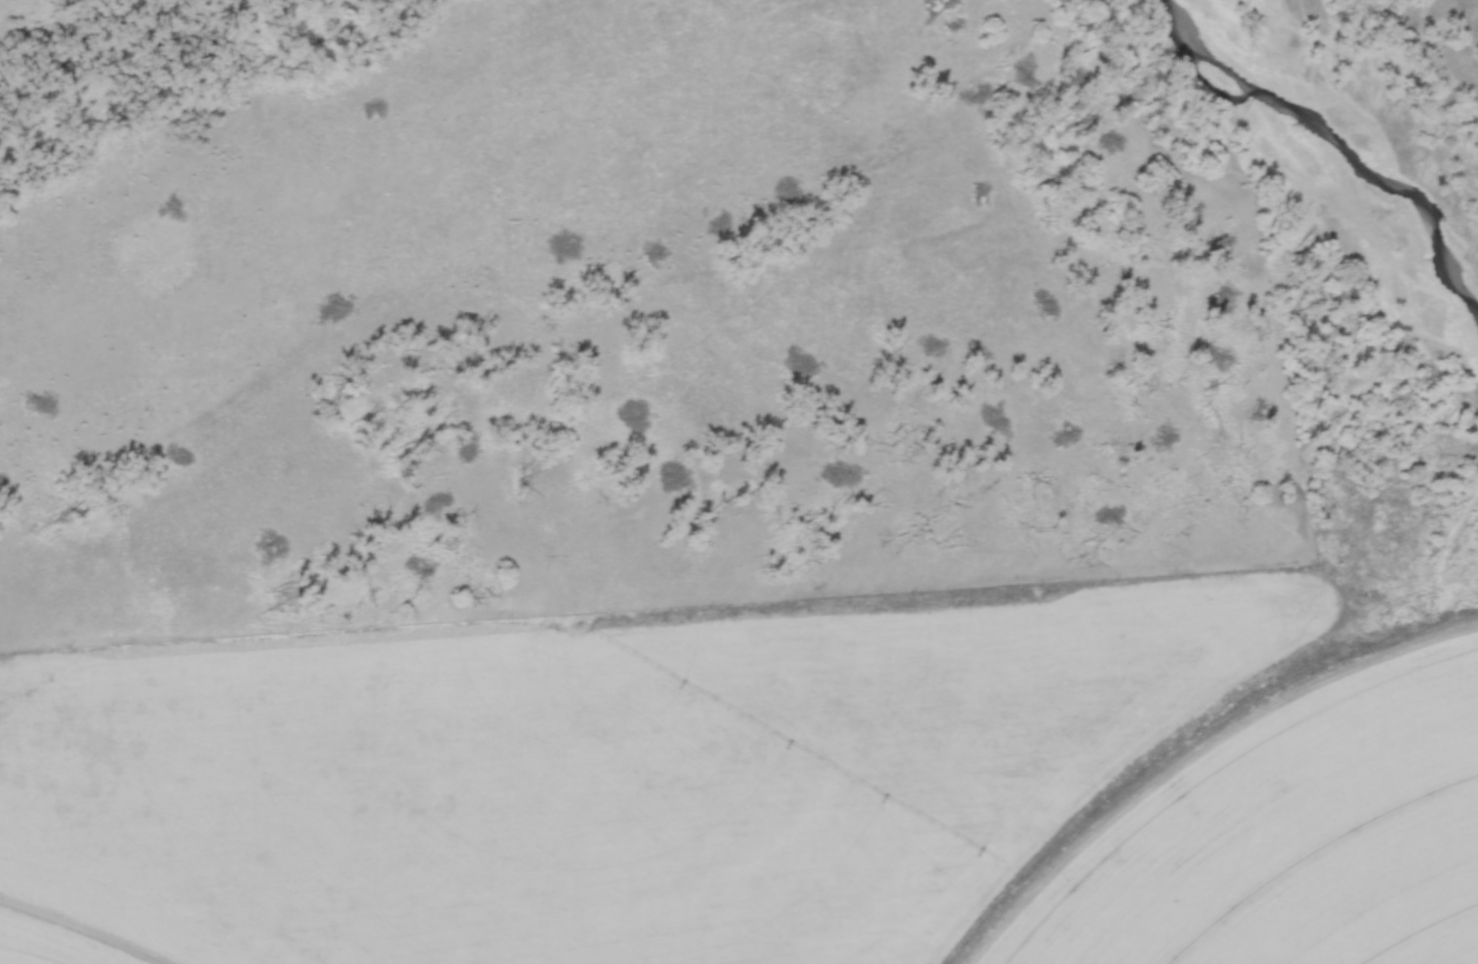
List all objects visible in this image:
river: (1336, 143)

